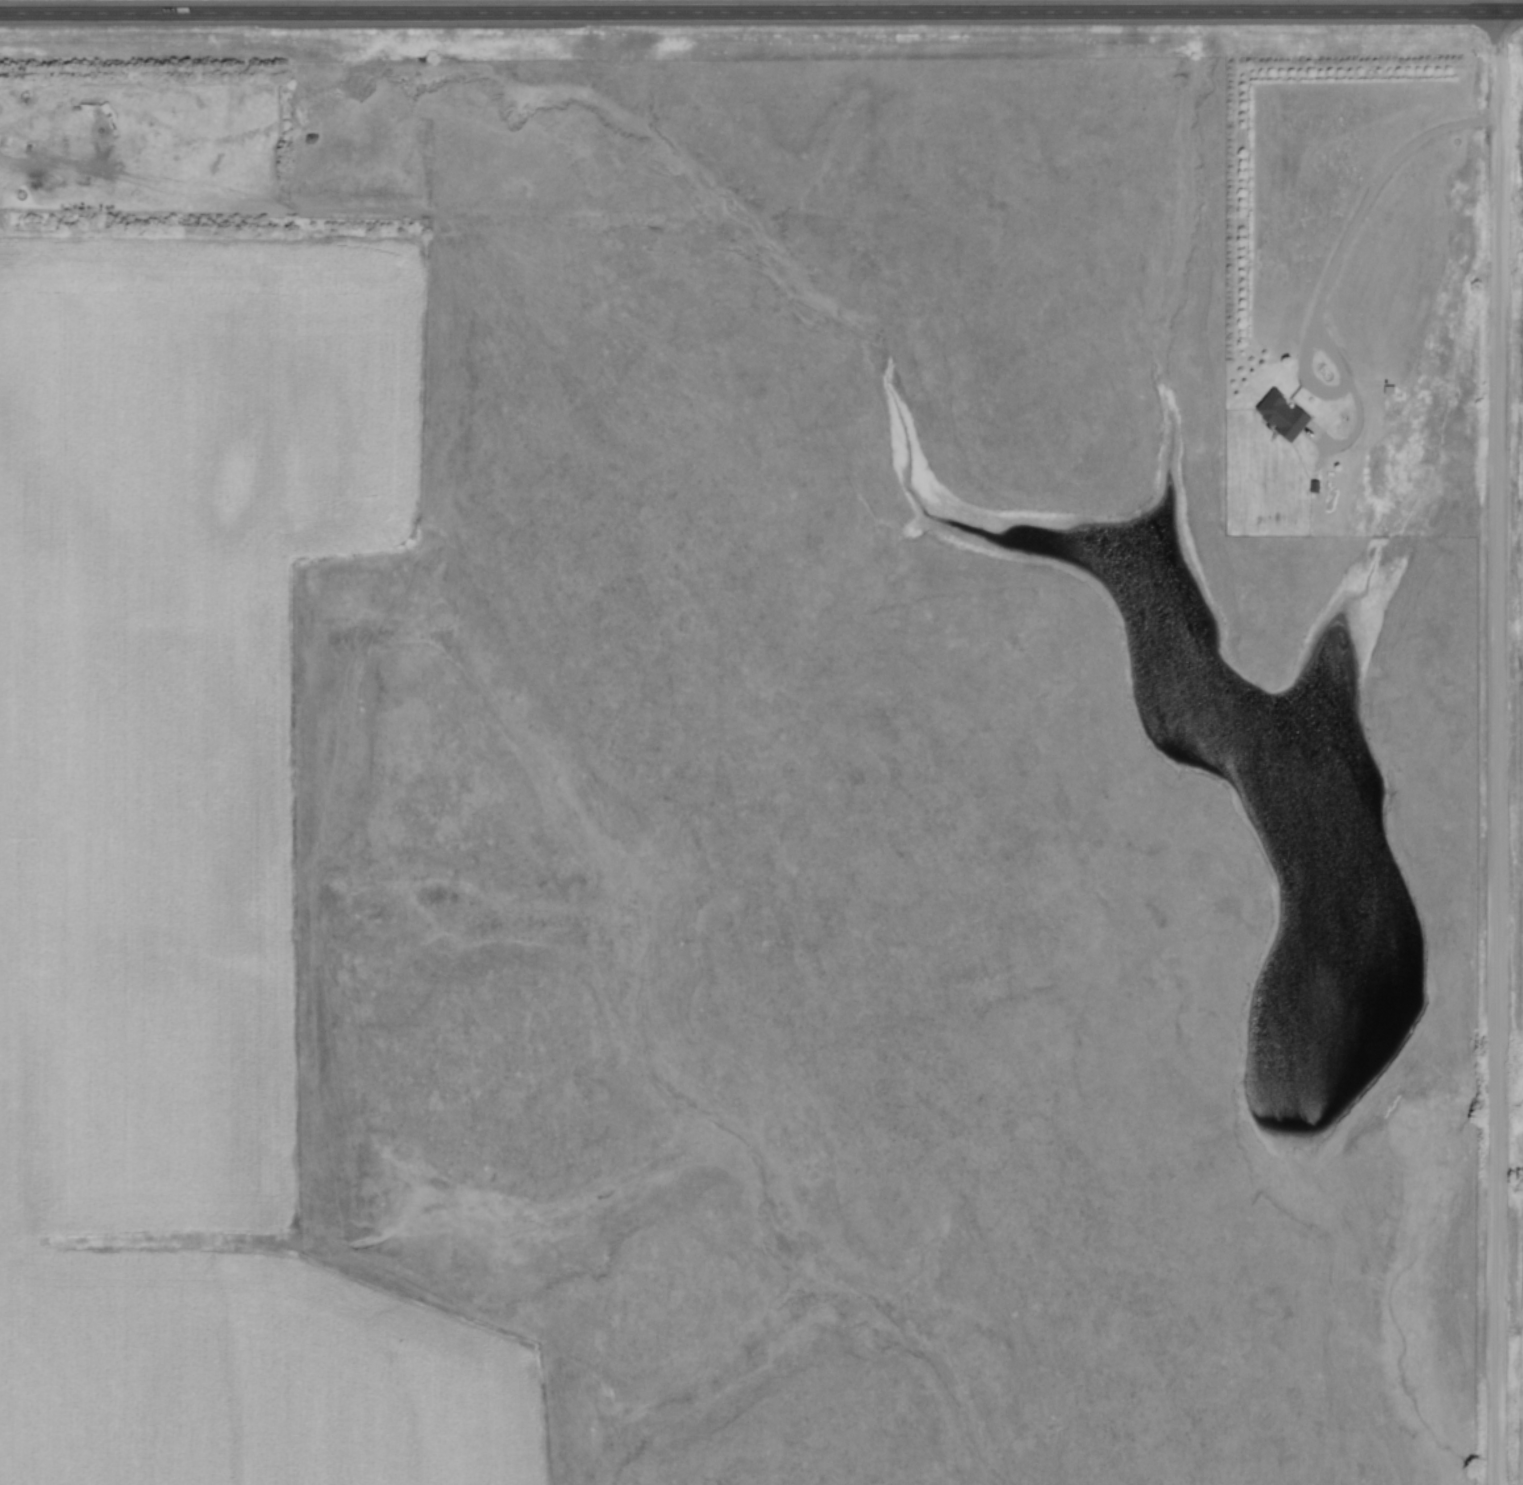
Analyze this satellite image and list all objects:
road: (761, 11)
building: (1293, 414)
road: (1500, 742)

